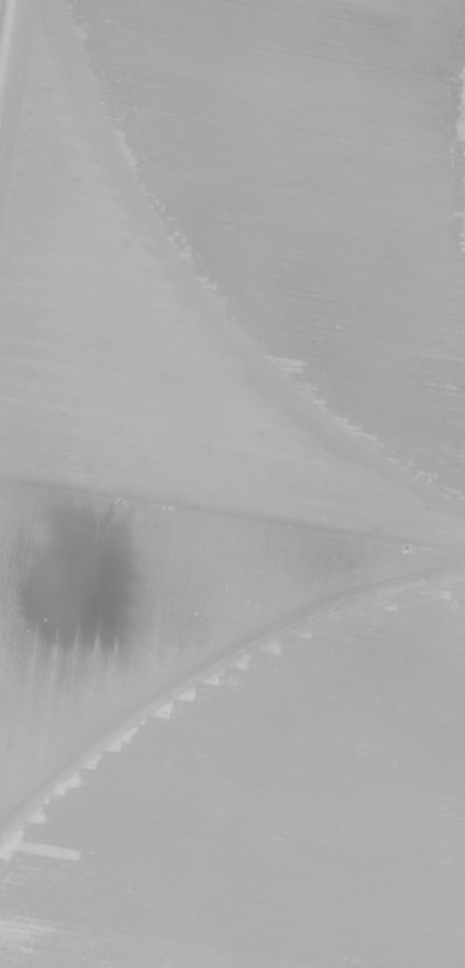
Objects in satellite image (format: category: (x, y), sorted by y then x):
road: (6, 45)
road: (232, 525)

